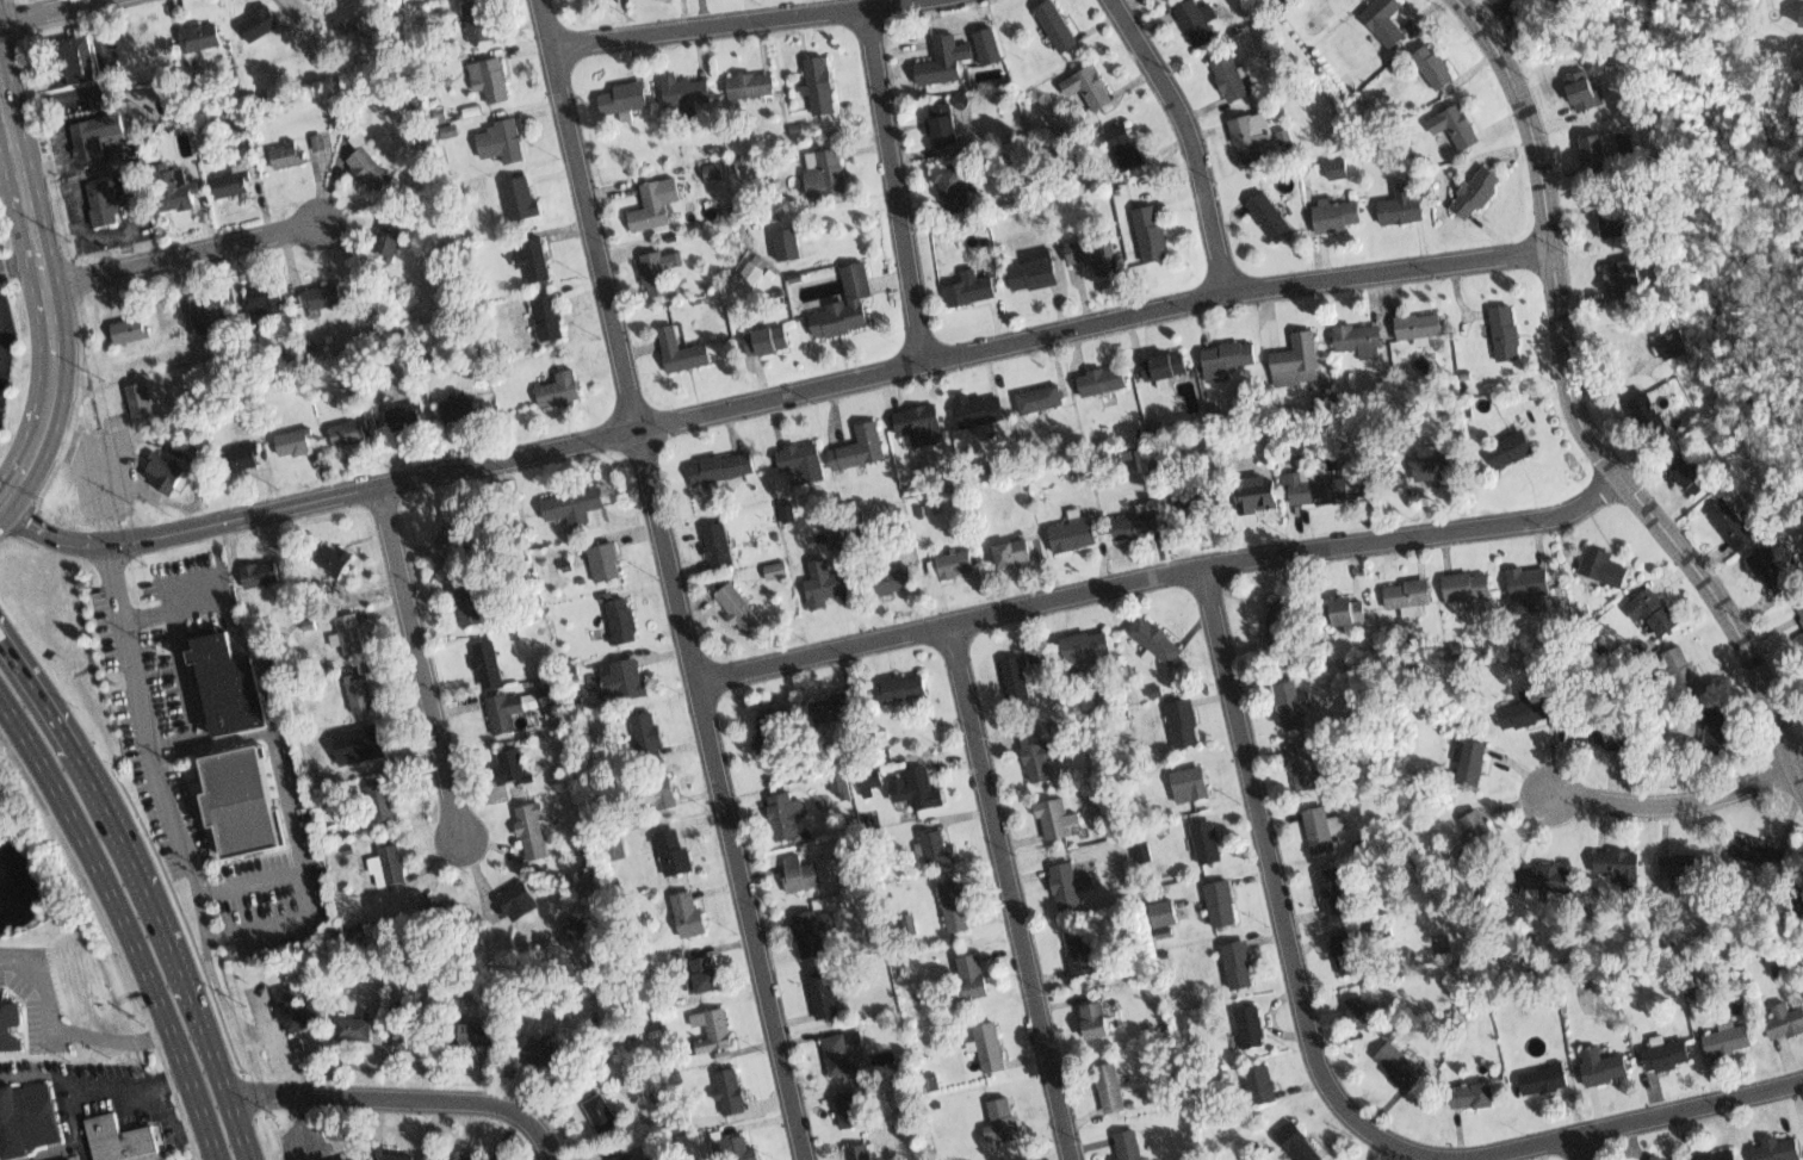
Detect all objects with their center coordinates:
road: (38, 8)
road: (1491, 10)
road: (1510, 17)
building: (478, 18)
building: (256, 19)
building: (1197, 21)
road: (737, 23)
building: (1382, 23)
building: (1802, 23)
building: (1054, 30)
building: (203, 33)
building: (989, 48)
building: (72, 58)
building: (942, 60)
building: (1437, 67)
road: (109, 70)
building: (1231, 77)
building: (752, 81)
building: (494, 82)
building: (1091, 83)
building: (818, 85)
building: (683, 89)
building: (1584, 91)
building: (620, 97)
building: (942, 125)
building: (1456, 126)
building: (447, 130)
building: (94, 138)
road: (1190, 138)
building: (1251, 138)
building: (317, 141)
building: (502, 142)
building: (1124, 148)
building: (1598, 150)
building: (291, 155)
building: (1337, 168)
building: (368, 170)
building: (712, 170)
road: (70, 172)
building: (832, 172)
road: (8, 179)
building: (233, 185)
road: (894, 185)
building: (174, 188)
building: (953, 192)
building: (1477, 193)
building: (519, 200)
building: (104, 203)
building: (656, 203)
building: (1401, 209)
building: (1271, 213)
building: (1339, 216)
building: (1613, 218)
building: (1153, 231)
building: (787, 243)
building: (389, 244)
road: (126, 246)
road: (181, 254)
building: (1092, 254)
building: (535, 258)
building: (1623, 259)
road: (18, 260)
building: (661, 268)
building: (751, 271)
building: (1033, 274)
building: (1619, 277)
building: (972, 292)
building: (266, 296)
building: (323, 296)
building: (855, 299)
road: (48, 306)
building: (207, 316)
building: (549, 317)
building: (1424, 325)
building: (130, 331)
building: (1505, 333)
building: (1357, 335)
building: (767, 341)
building: (1677, 345)
building: (682, 352)
building: (1226, 355)
building: (1301, 355)
building: (1163, 362)
building: (1102, 382)
road: (826, 385)
building: (560, 387)
building: (1043, 396)
building: (1322, 401)
building: (140, 404)
building: (459, 408)
building: (985, 410)
road: (1578, 412)
building: (1648, 415)
building: (403, 418)
building: (924, 426)
building: (349, 433)
building: (296, 443)
building: (1511, 448)
building: (866, 449)
building: (243, 455)
building: (800, 460)
building: (725, 466)
building: (165, 467)
building: (1433, 467)
building: (1689, 471)
road: (112, 480)
building: (1314, 494)
building: (1197, 497)
building: (1253, 497)
building: (576, 504)
building: (787, 511)
building: (1138, 522)
building: (1731, 522)
building: (835, 533)
building: (1077, 534)
road: (49, 536)
building: (460, 536)
building: (717, 540)
building: (1015, 554)
building: (334, 557)
building: (606, 558)
building: (954, 565)
building: (1603, 566)
building: (775, 570)
building: (1772, 571)
road: (1161, 572)
building: (261, 575)
road: (674, 579)
building: (891, 579)
building: (1529, 581)
building: (824, 584)
building: (1464, 584)
building: (1408, 594)
building: (471, 604)
building: (1798, 607)
building: (739, 608)
building: (1653, 609)
building: (1343, 612)
road: (147, 614)
building: (622, 621)
building: (1277, 621)
road: (174, 631)
building: (349, 637)
building: (1799, 641)
building: (1157, 644)
building: (1085, 651)
road: (421, 664)
building: (489, 664)
building: (1017, 676)
building: (627, 678)
building: (1675, 682)
building: (904, 686)
building: (224, 687)
building: (360, 696)
building: (552, 700)
building: (834, 703)
building: (1293, 707)
building: (1523, 711)
building: (502, 715)
building: (1184, 722)
building: (1598, 726)
building: (1717, 730)
building: (774, 732)
building: (648, 734)
road: (149, 744)
building: (361, 744)
building: (314, 756)
building: (1041, 759)
building: (1470, 762)
building: (509, 765)
building: (1302, 770)
building: (869, 780)
building: (839, 784)
building: (917, 786)
building: (661, 787)
building: (1189, 788)
road: (1672, 801)
building: (383, 802)
building: (234, 804)
road: (287, 805)
building: (782, 811)
road: (100, 814)
building: (1057, 821)
building: (1316, 829)
building: (1479, 831)
building: (529, 832)
building: (1208, 845)
building: (1758, 848)
building: (675, 849)
building: (938, 849)
building: (1615, 861)
building: (1681, 861)
building: (391, 866)
building: (1544, 873)
building: (798, 876)
building: (1068, 886)
road: (1010, 891)
road: (306, 892)
building: (1336, 894)
building: (1801, 895)
building: (516, 905)
building: (1221, 905)
building: (956, 908)
building: (688, 911)
building: (1163, 912)
road: (124, 922)
building: (576, 928)
building: (814, 930)
building: (1080, 954)
building: (1349, 954)
building: (1239, 967)
building: (705, 973)
building: (975, 979)
building: (823, 995)
building: (293, 1009)
building: (1363, 1012)
building: (1097, 1021)
building: (1787, 1022)
building: (1252, 1024)
building: (11, 1026)
building: (353, 1029)
road: (60, 1034)
building: (711, 1034)
building: (416, 1036)
building: (482, 1041)
road: (278, 1043)
building: (1728, 1044)
building: (992, 1050)
building: (544, 1052)
building: (836, 1057)
building: (1663, 1057)
building: (1396, 1065)
building: (1599, 1068)
road: (1322, 1073)
road: (215, 1075)
building: (1545, 1081)
building: (1258, 1085)
road: (86, 1090)
building: (731, 1090)
building: (1114, 1090)
road: (402, 1096)
building: (1473, 1098)
building: (847, 1110)
building: (600, 1115)
building: (31, 1119)
building: (1004, 1119)
building: (675, 1124)
road: (300, 1128)
building: (117, 1142)
building: (1300, 1146)
building: (1127, 1147)
road: (1581, 1147)
building: (860, 1150)
building: (1778, 1150)
building: (736, 1152)
building: (396, 1153)
building: (1716, 1154)
building: (469, 1155)
building: (339, 1156)
building: (618, 1156)
building: (68, 1159)
building: (1653, 1159)

